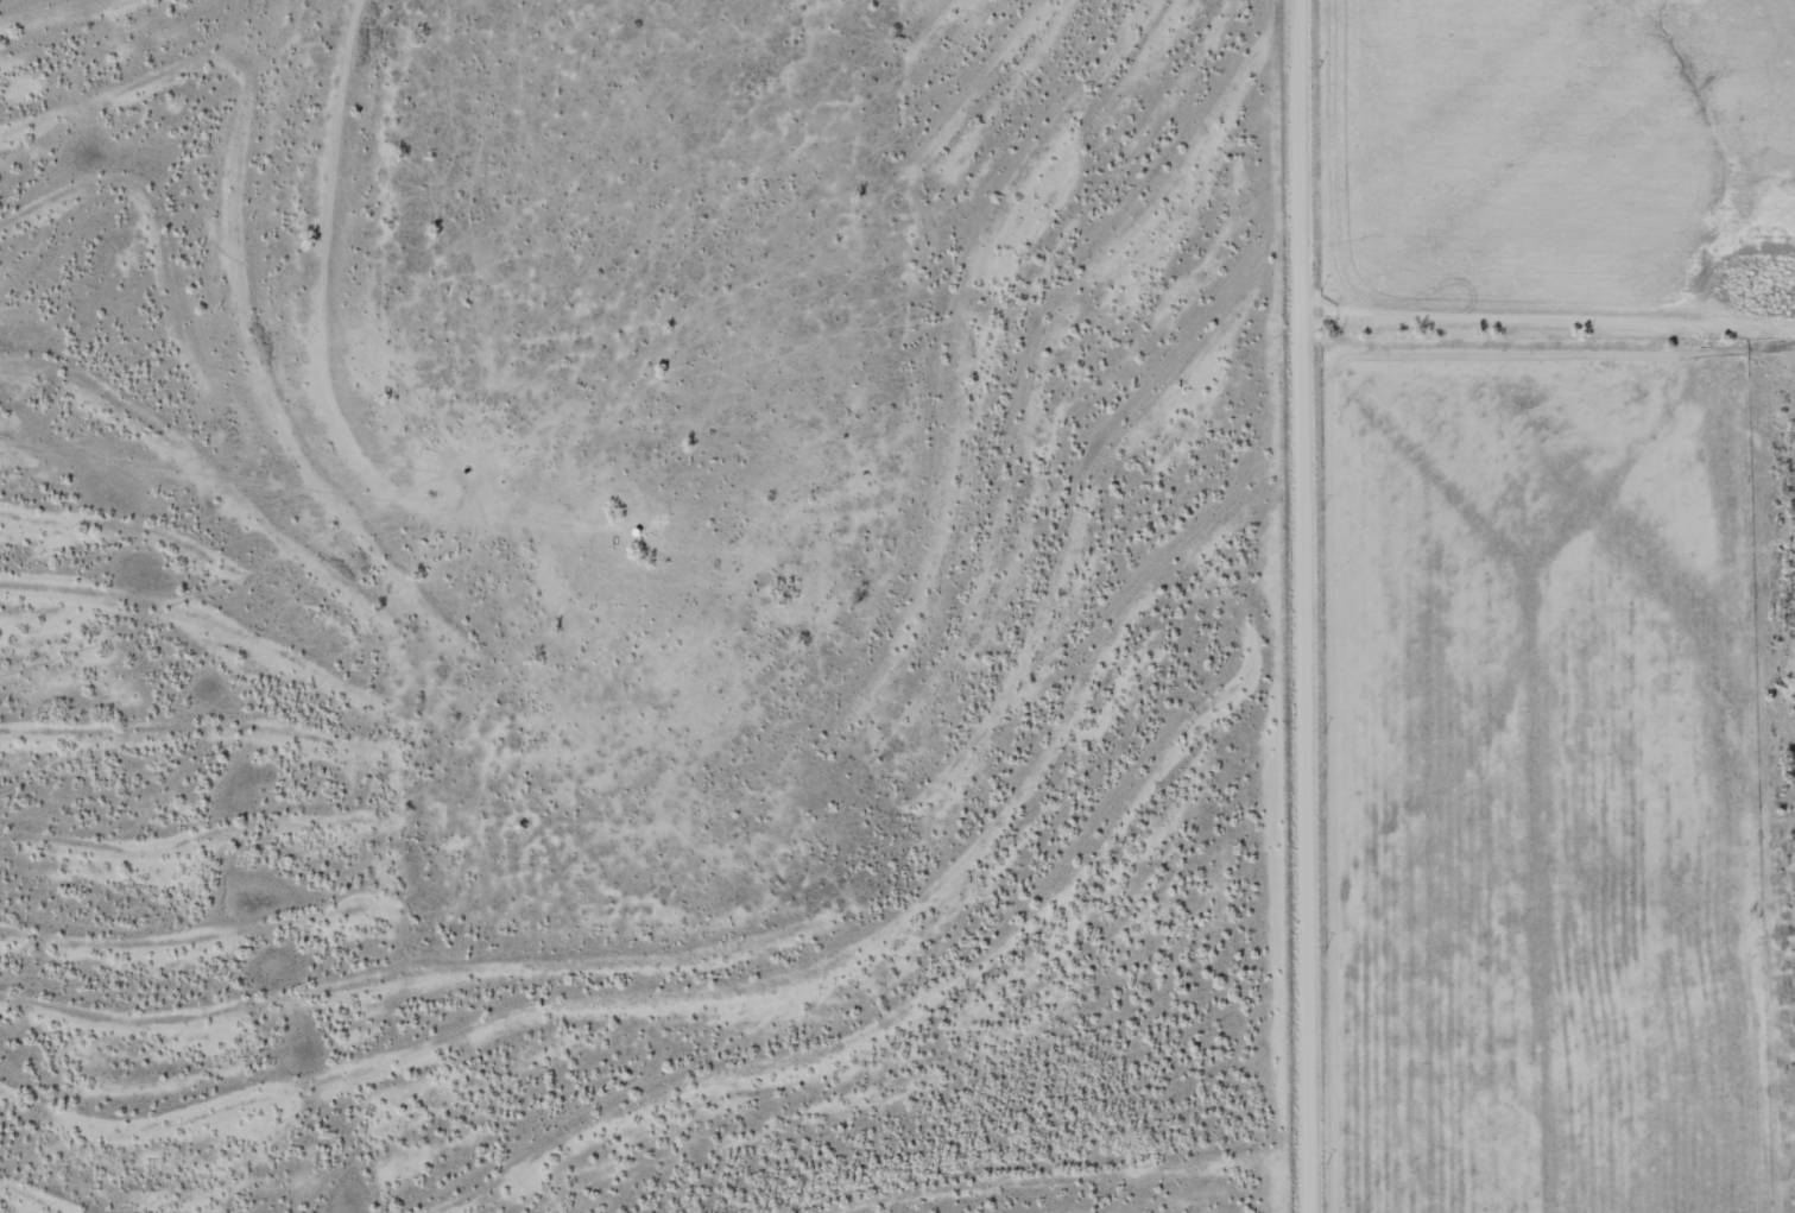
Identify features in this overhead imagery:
road: (1306, 606)

